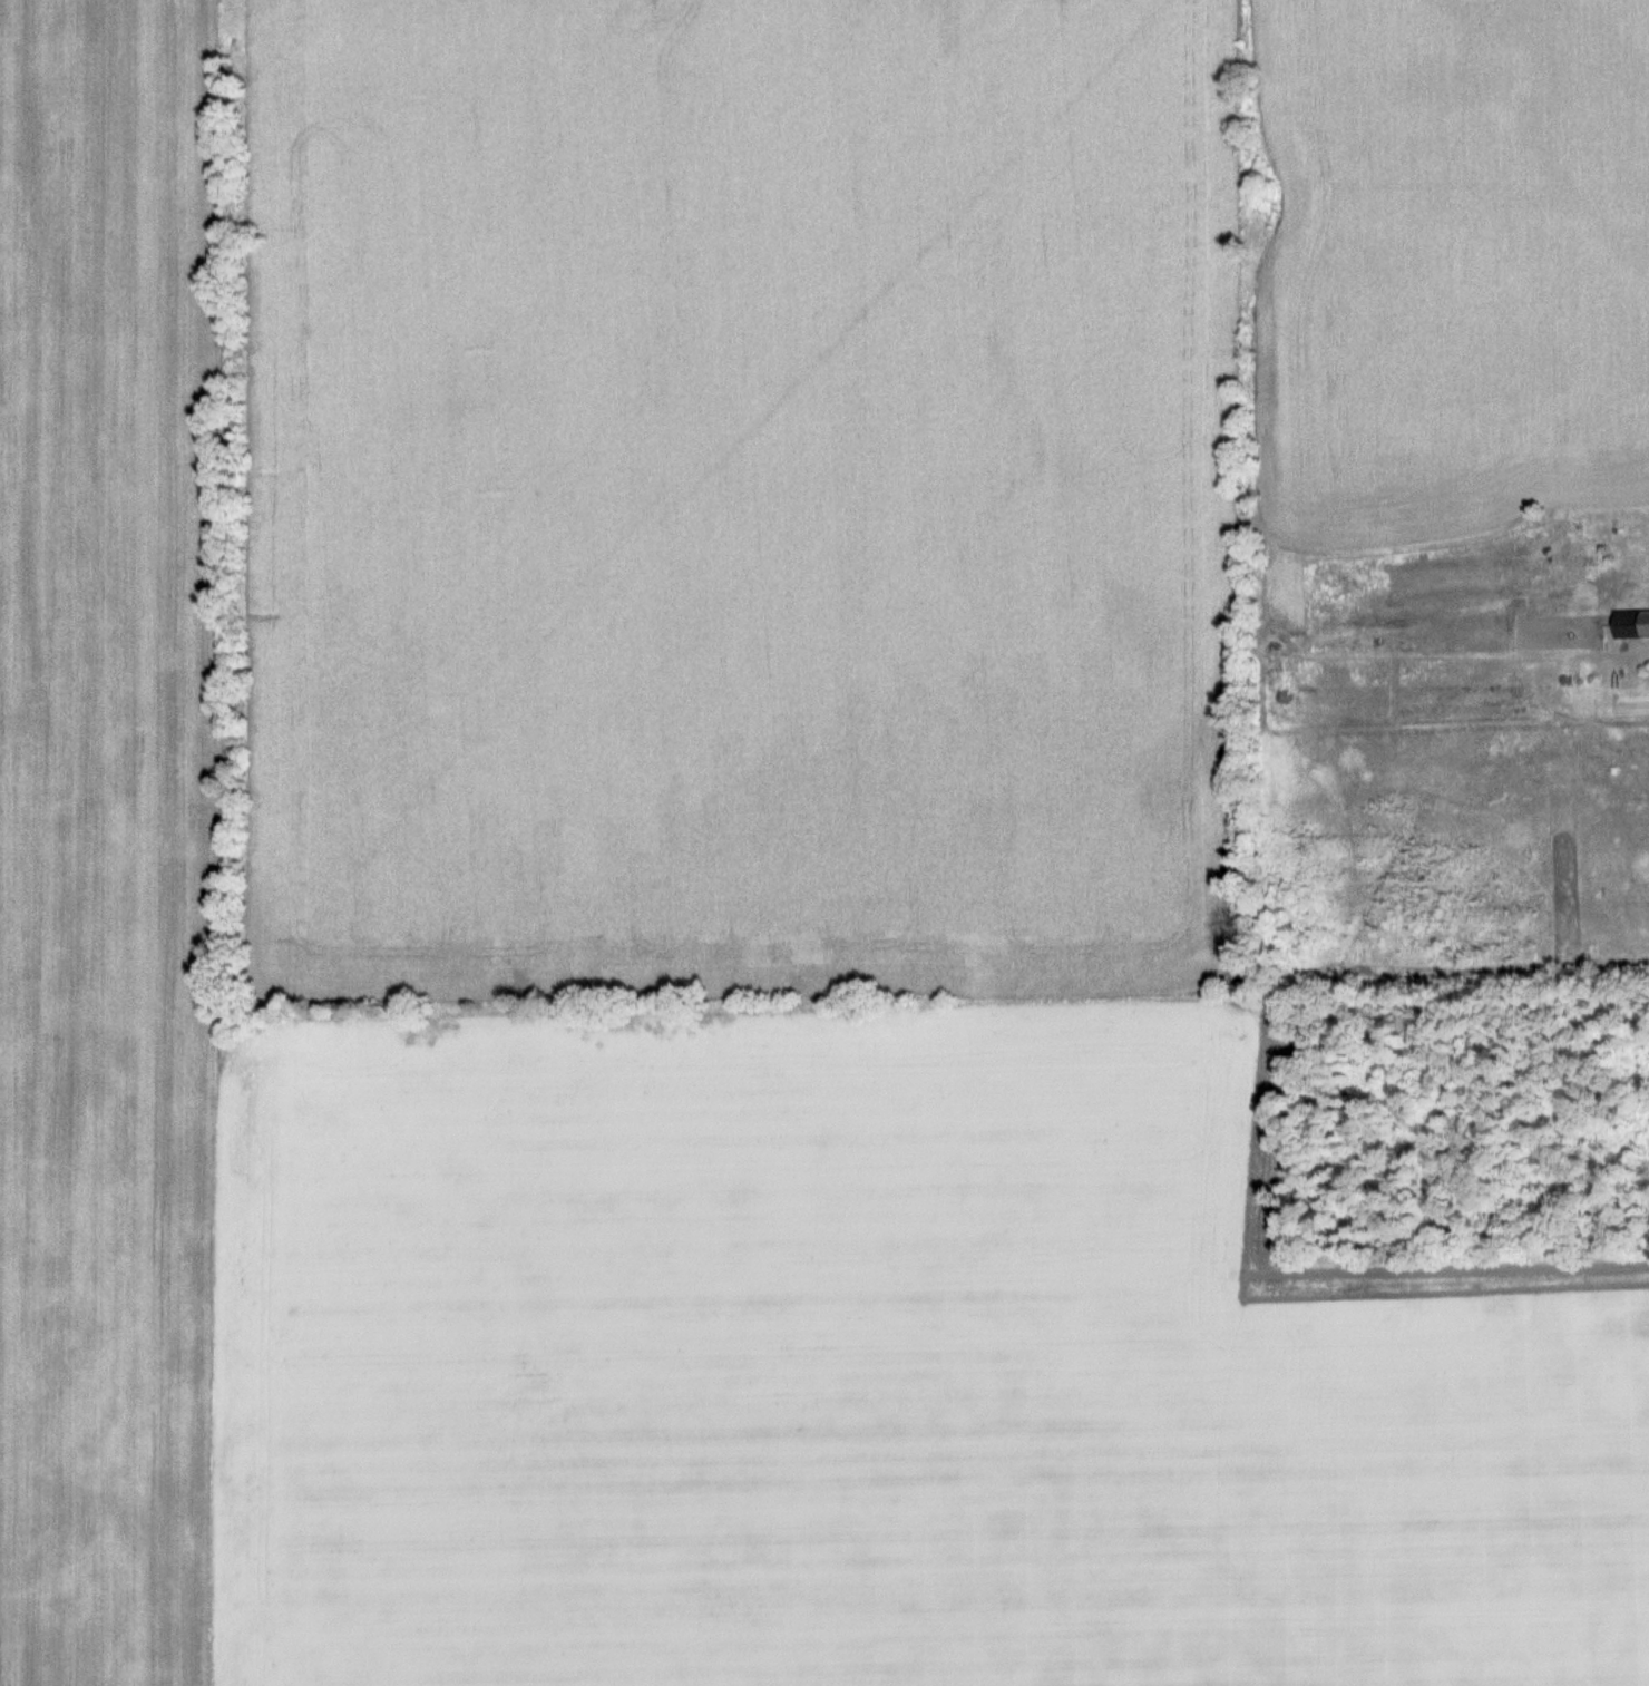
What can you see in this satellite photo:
building: (1631, 623)

